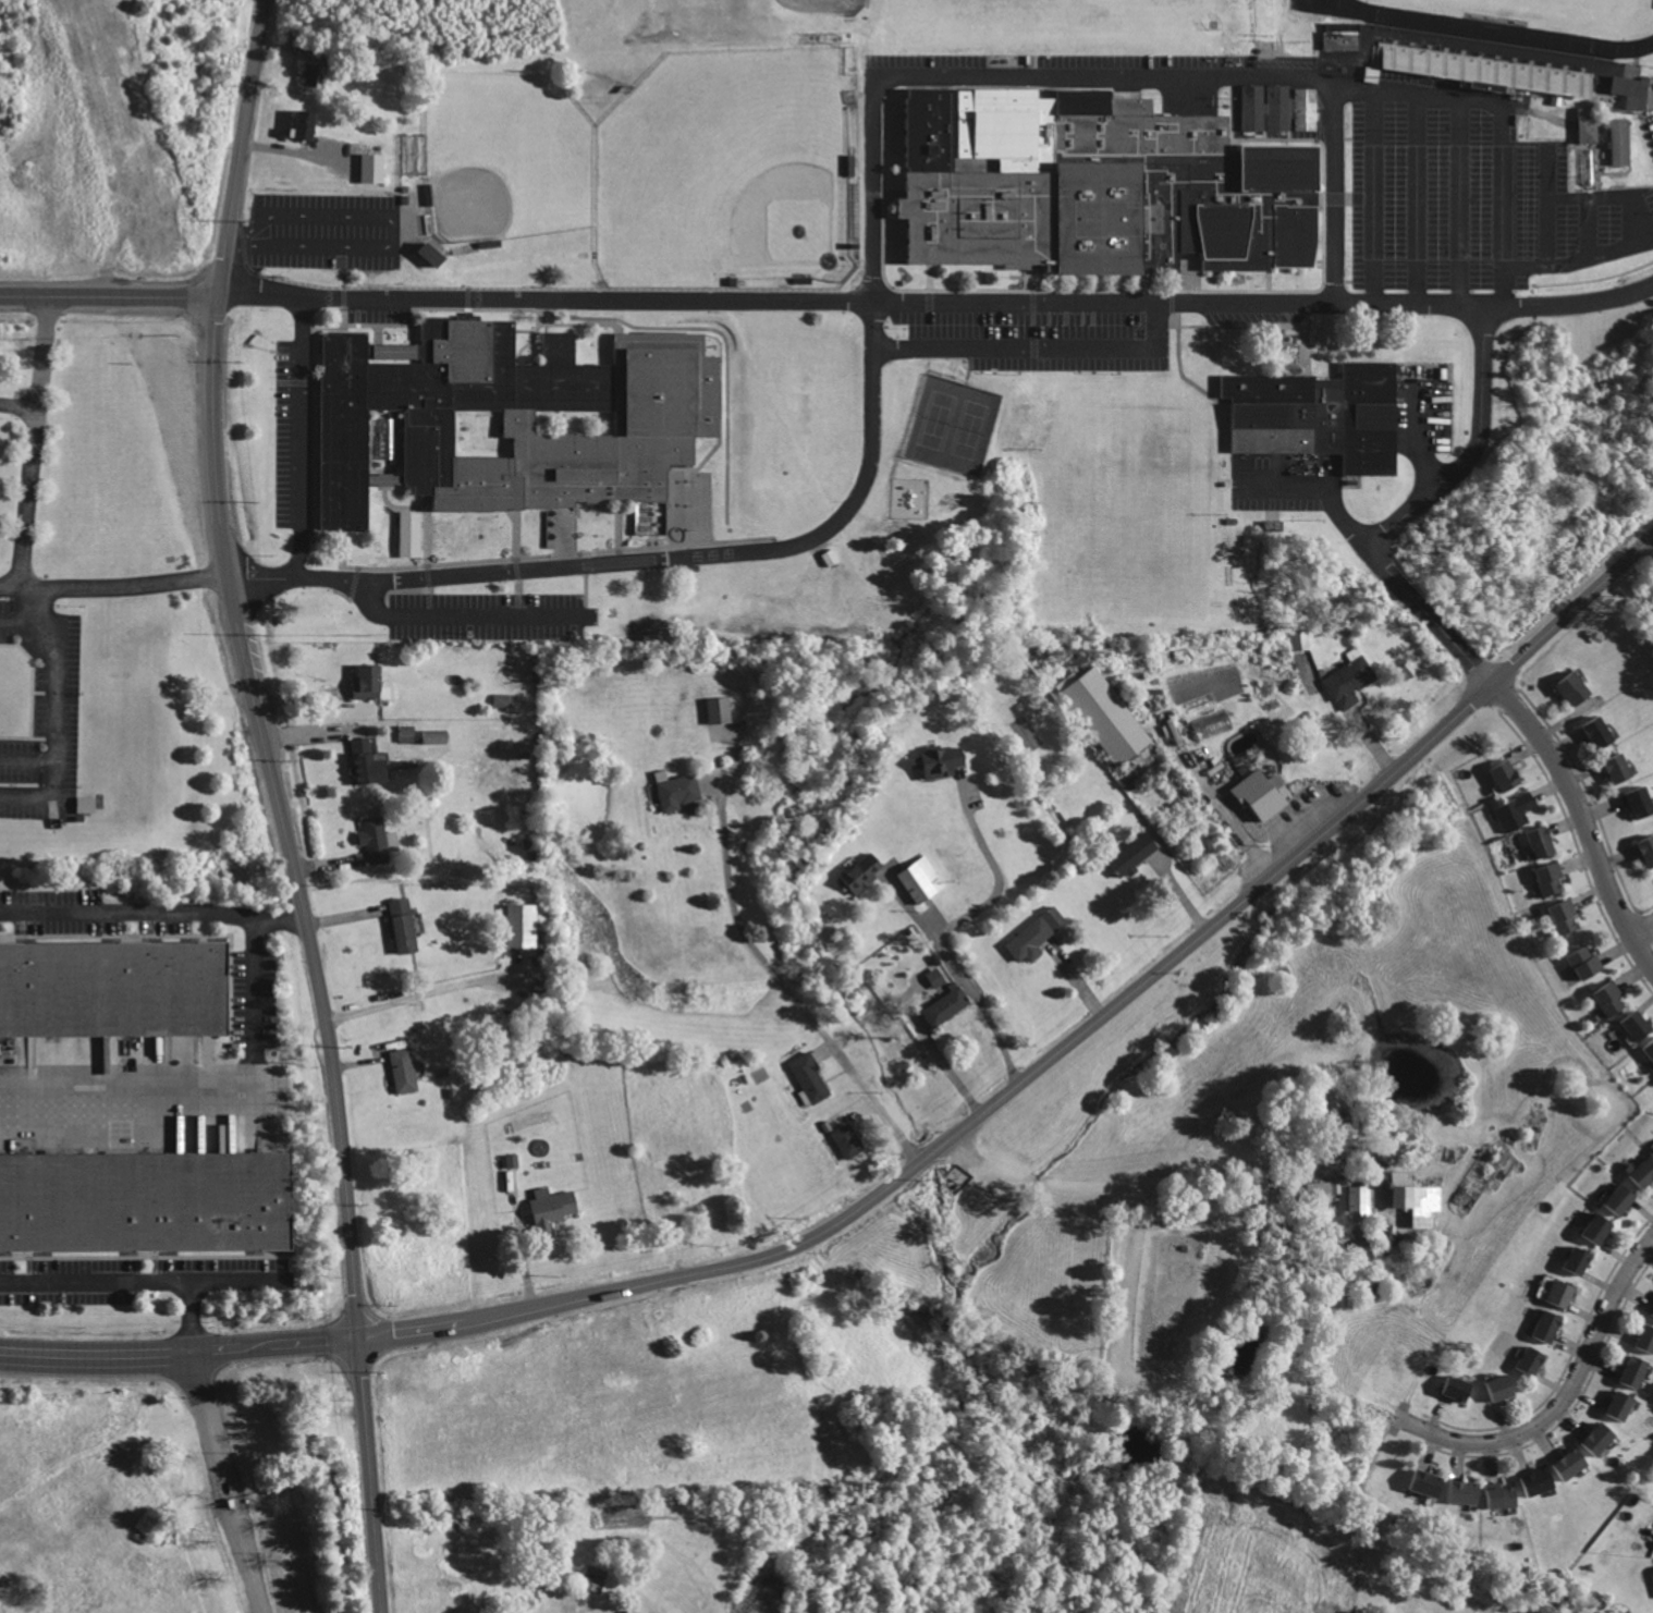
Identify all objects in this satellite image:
park: (758, 7)
track: (1335, 8)
park: (1030, 12)
park: (1564, 12)
track: (1498, 30)
building: (1343, 37)
parking lot: (1066, 68)
building: (1484, 68)
building: (1370, 71)
building: (314, 74)
road: (887, 78)
road: (1229, 81)
building: (1625, 87)
building: (1251, 106)
building: (1276, 106)
building: (1305, 108)
road: (1312, 112)
parking lot: (1649, 121)
building: (304, 124)
building: (1587, 127)
road: (1229, 142)
building: (1619, 142)
road: (243, 148)
park: (512, 148)
road: (299, 152)
park: (718, 158)
building: (374, 167)
building: (1588, 168)
building: (1094, 183)
road: (1334, 191)
road: (1373, 194)
road: (1362, 195)
road: (1318, 196)
road: (1332, 196)
parking lot: (1460, 197)
road: (1416, 198)
road: (1458, 203)
road: (1545, 203)
road: (1501, 205)
building: (852, 208)
road: (882, 215)
road: (391, 222)
road: (1587, 224)
parking lot: (325, 225)
road: (1634, 241)
building: (433, 246)
road: (243, 248)
road: (343, 255)
road: (867, 262)
road: (1187, 269)
road: (343, 274)
flagpole: (1011, 274)
road: (927, 276)
road: (1266, 277)
road: (1031, 278)
road: (1143, 279)
road: (880, 283)
road: (564, 285)
road: (1248, 289)
road: (342, 294)
road: (1187, 295)
road: (109, 296)
road: (927, 298)
road: (1031, 298)
road: (1170, 300)
road: (938, 301)
road: (433, 306)
parking lot: (376, 309)
road: (1048, 311)
road: (1064, 311)
road: (1081, 311)
road: (1091, 311)
parking lot: (1254, 313)
road: (1031, 315)
road: (342, 316)
road: (583, 321)
road: (1240, 322)
road: (326, 326)
flagpole: (405, 330)
road: (524, 330)
road: (375, 332)
road: (411, 332)
parking lot: (1024, 332)
road: (531, 335)
road: (1305, 337)
road: (1033, 344)
road: (1032, 345)
road: (968, 356)
road: (1179, 369)
road: (966, 375)
road: (293, 379)
parking lot: (1421, 404)
road: (21, 406)
building: (1314, 412)
building: (21, 414)
building: (509, 414)
park: (800, 419)
park: (952, 423)
road: (310, 426)
parking lot: (287, 431)
road: (1418, 435)
building: (385, 436)
road: (301, 437)
road: (686, 473)
parking lot: (1283, 478)
road: (1317, 485)
road: (396, 505)
park: (1148, 512)
road: (1405, 512)
road: (617, 524)
road: (426, 528)
building: (407, 531)
road: (514, 531)
road: (326, 536)
road: (562, 537)
road: (28, 545)
road: (342, 547)
road: (1649, 548)
road: (558, 552)
road: (617, 554)
building: (828, 557)
road: (515, 566)
road: (529, 567)
road: (585, 567)
road: (257, 573)
road: (426, 573)
road: (340, 576)
road: (352, 579)
road: (584, 582)
road: (517, 585)
road: (428, 587)
road: (408, 591)
road: (583, 598)
road: (428, 603)
road: (517, 603)
road: (583, 610)
parking lot: (491, 614)
road: (464, 615)
road: (19, 619)
building: (1298, 639)
building: (1349, 681)
building: (367, 682)
building: (1574, 688)
building: (503, 699)
road: (53, 700)
building: (717, 709)
building: (1105, 719)
building: (1211, 724)
building: (1599, 732)
building: (433, 736)
road: (26, 756)
building: (942, 760)
building: (367, 766)
building: (1618, 768)
building: (1506, 773)
building: (676, 792)
building: (1259, 792)
building: (1638, 801)
building: (84, 804)
building: (1514, 810)
road: (1582, 819)
building: (376, 841)
building: (1541, 844)
building: (1646, 850)
building: (1131, 855)
road: (994, 863)
building: (862, 872)
building: (1550, 877)
building: (920, 878)
road: (152, 909)
building: (1565, 915)
road: (1640, 924)
building: (402, 925)
building: (522, 925)
building: (1033, 936)
road: (311, 951)
building: (1585, 964)
road: (964, 970)
road: (776, 975)
building: (933, 977)
building: (113, 990)
road: (438, 992)
building: (1608, 998)
building: (945, 1006)
building: (1638, 1024)
road: (825, 1051)
building: (1649, 1051)
building: (406, 1067)
building: (809, 1075)
road: (215, 1093)
road: (847, 1109)
building: (1336, 1109)
building: (848, 1141)
building: (1652, 1149)
building: (1340, 1151)
road: (922, 1161)
crop: (671, 1162)
building: (1643, 1173)
road: (1136, 1176)
building: (1334, 1187)
building: (1317, 1190)
building: (1265, 1194)
building: (1413, 1198)
building: (1619, 1199)
building: (145, 1203)
building: (1358, 1203)
building: (553, 1209)
building: (1595, 1229)
building: (1577, 1261)
road: (143, 1282)
building: (1560, 1294)
building: (1652, 1312)
road: (189, 1315)
building: (1546, 1327)
building: (1646, 1339)
building: (1531, 1361)
building: (1634, 1371)
building: (1501, 1385)
building: (1456, 1388)
road: (1565, 1394)
building: (1621, 1405)
road: (208, 1414)
building: (1597, 1439)
building: (1570, 1464)
building: (1536, 1481)
building: (1428, 1482)
building: (1462, 1493)
building: (1503, 1498)
road: (238, 1499)
road: (222, 1503)
road: (248, 1567)
building: (629, 1611)

